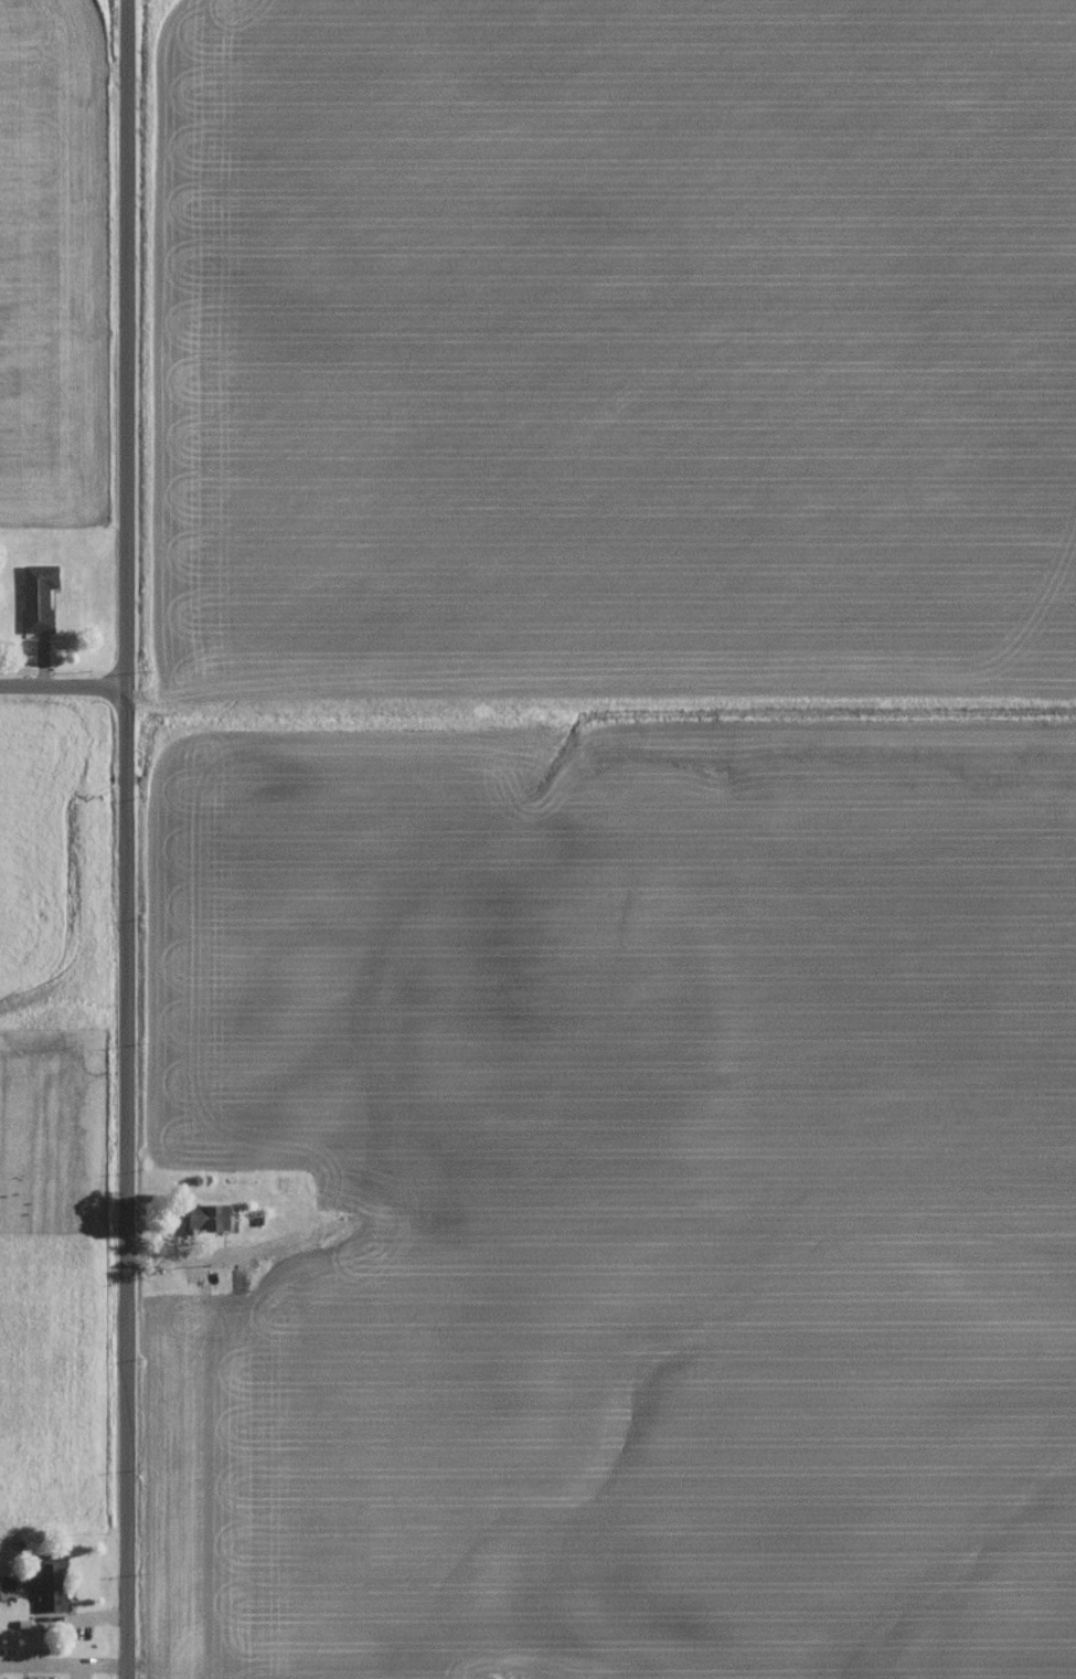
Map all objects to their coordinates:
building: (38, 596)
road: (61, 688)
road: (122, 839)
building: (205, 1216)
building: (224, 1279)
building: (46, 1582)
road: (94, 1660)

